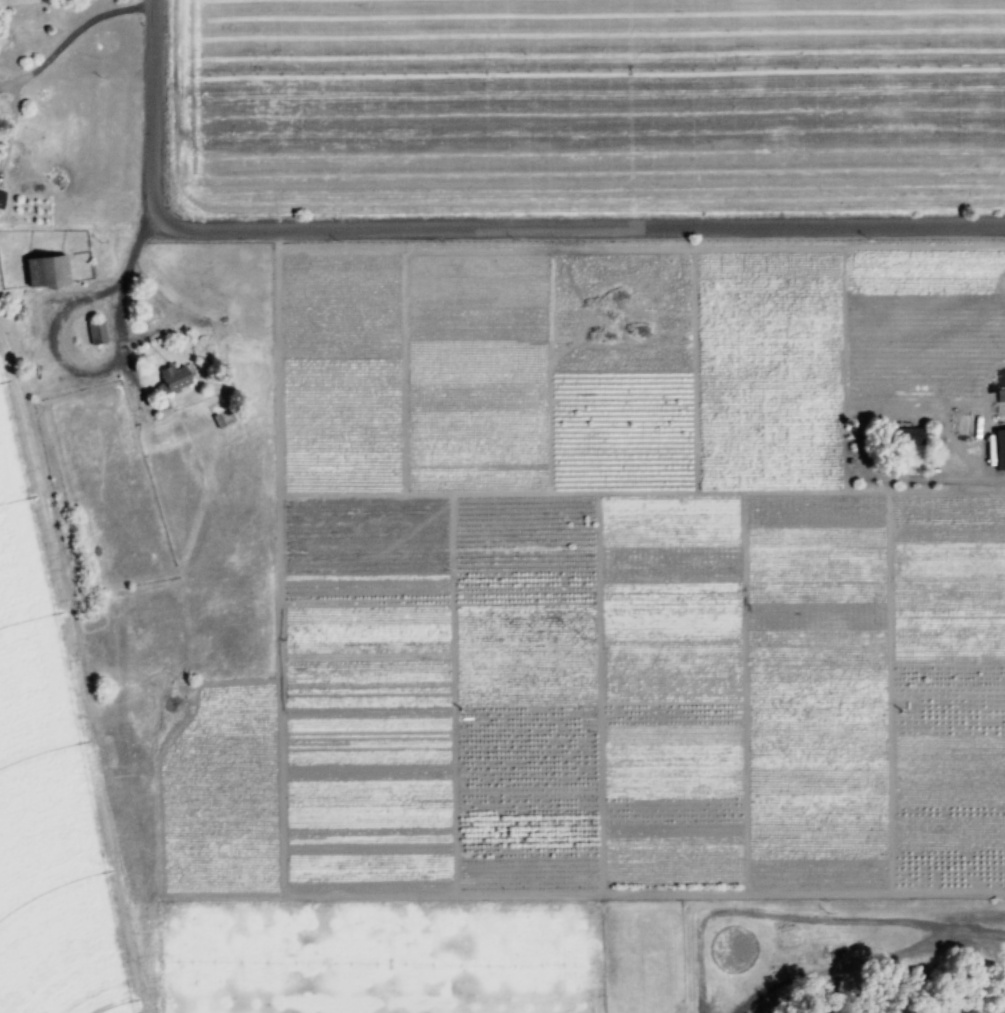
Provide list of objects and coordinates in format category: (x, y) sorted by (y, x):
road: (465, 236)
building: (51, 272)
building: (99, 334)
building: (176, 380)
building: (1002, 450)

